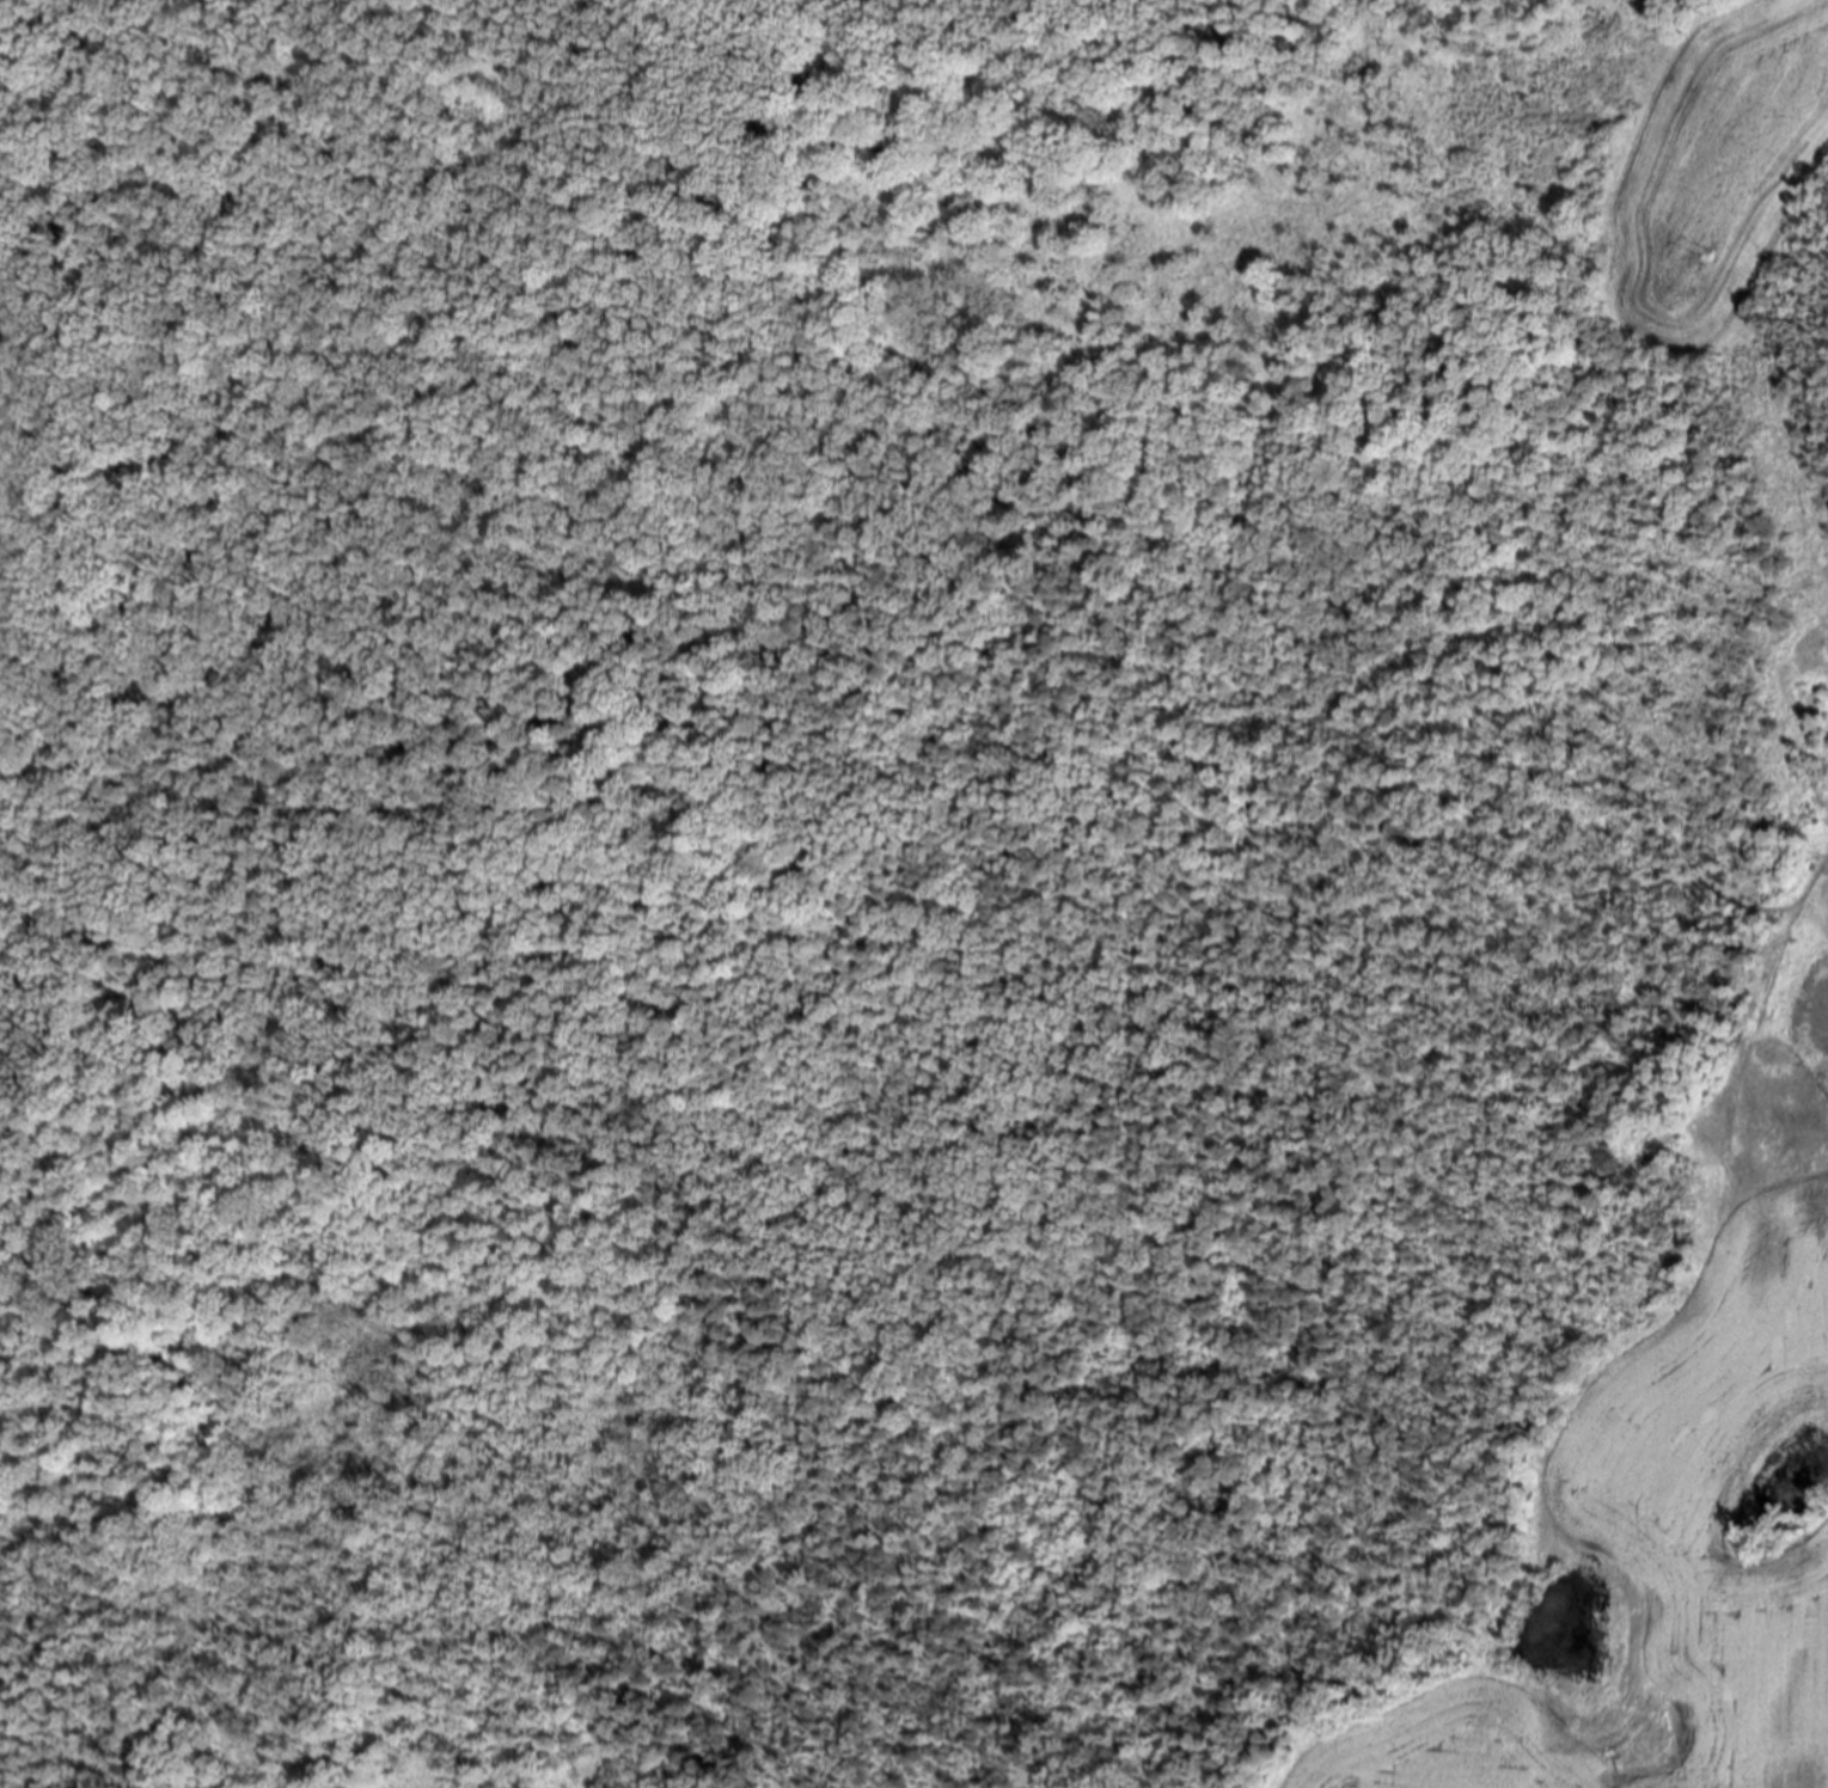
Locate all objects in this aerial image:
power tower: (1701, 257)

